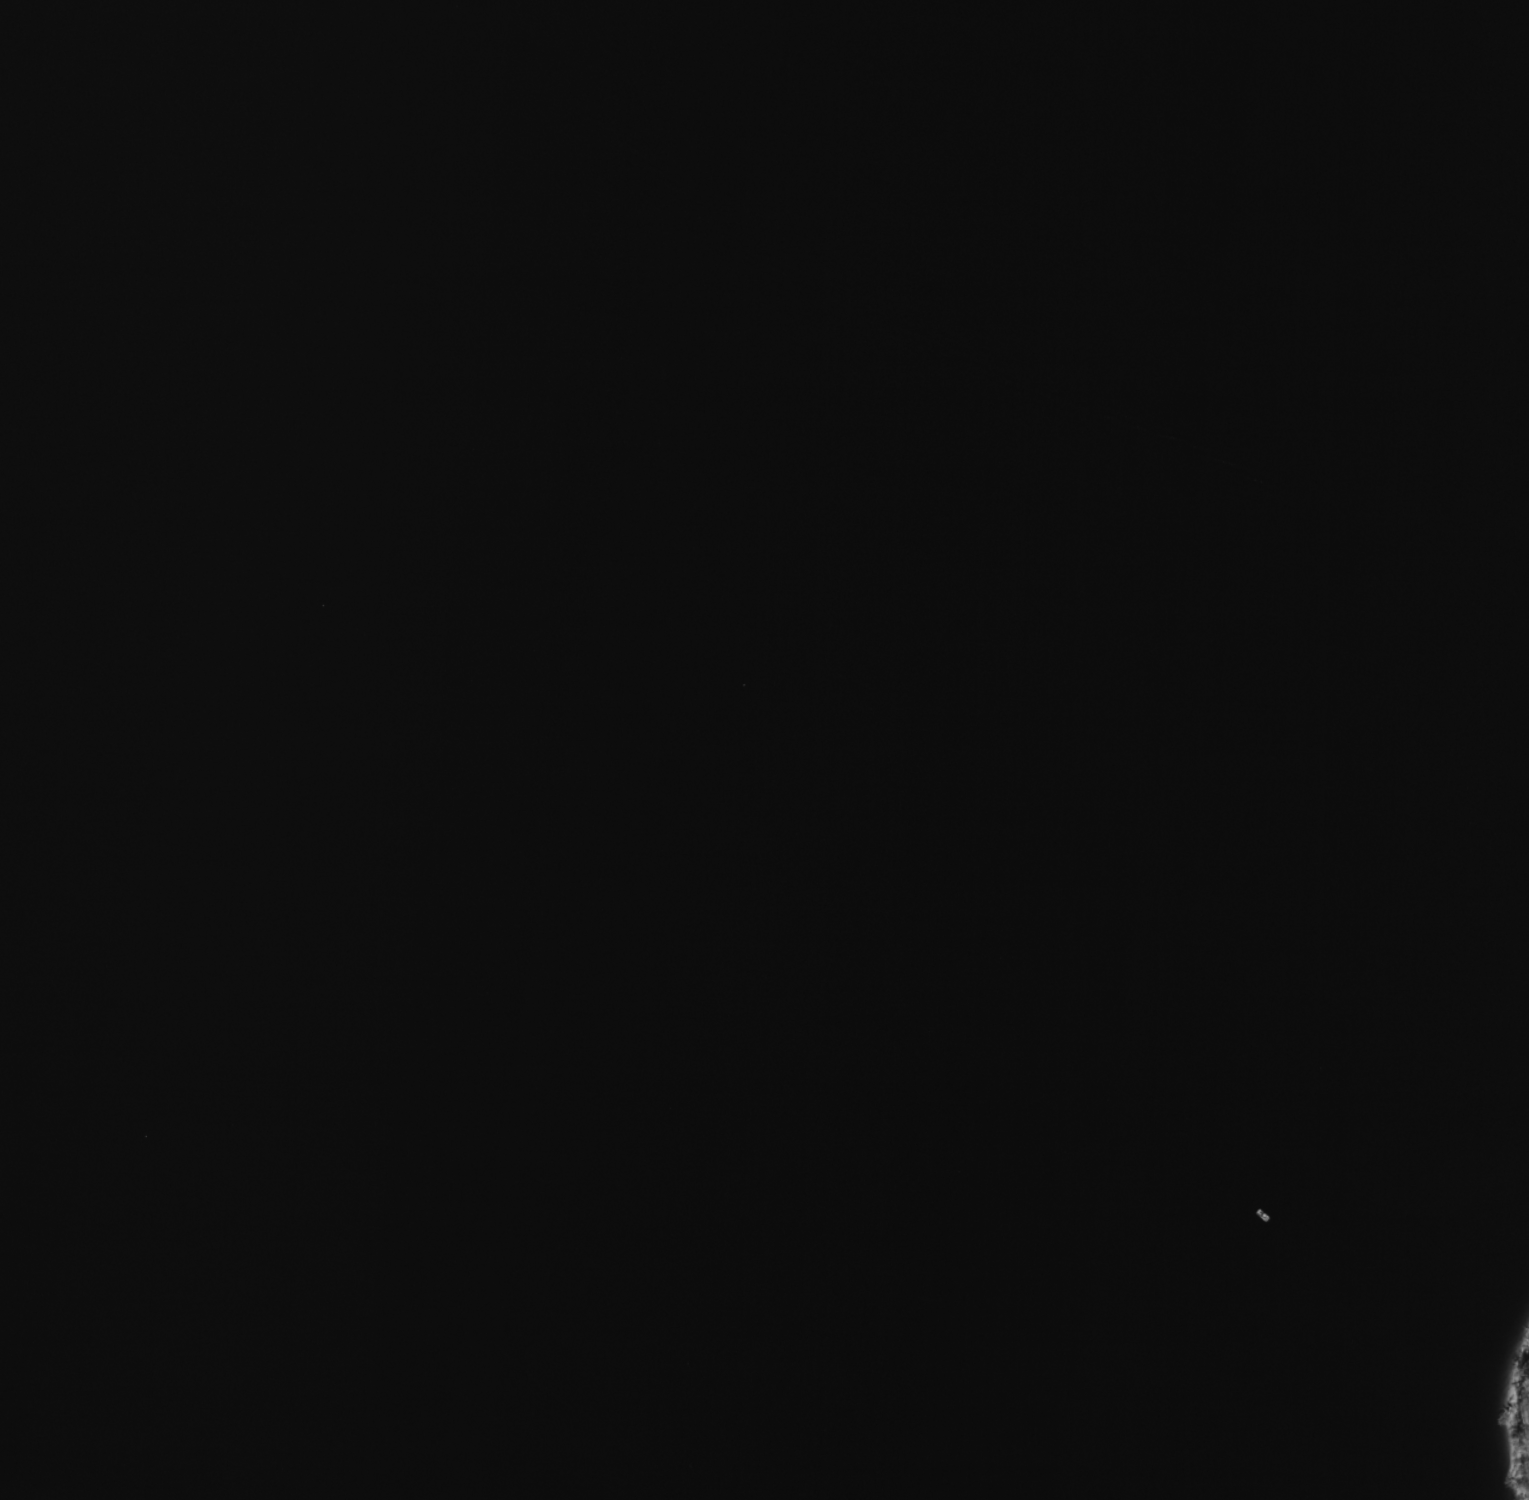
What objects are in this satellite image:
park: (1512, 1410)

